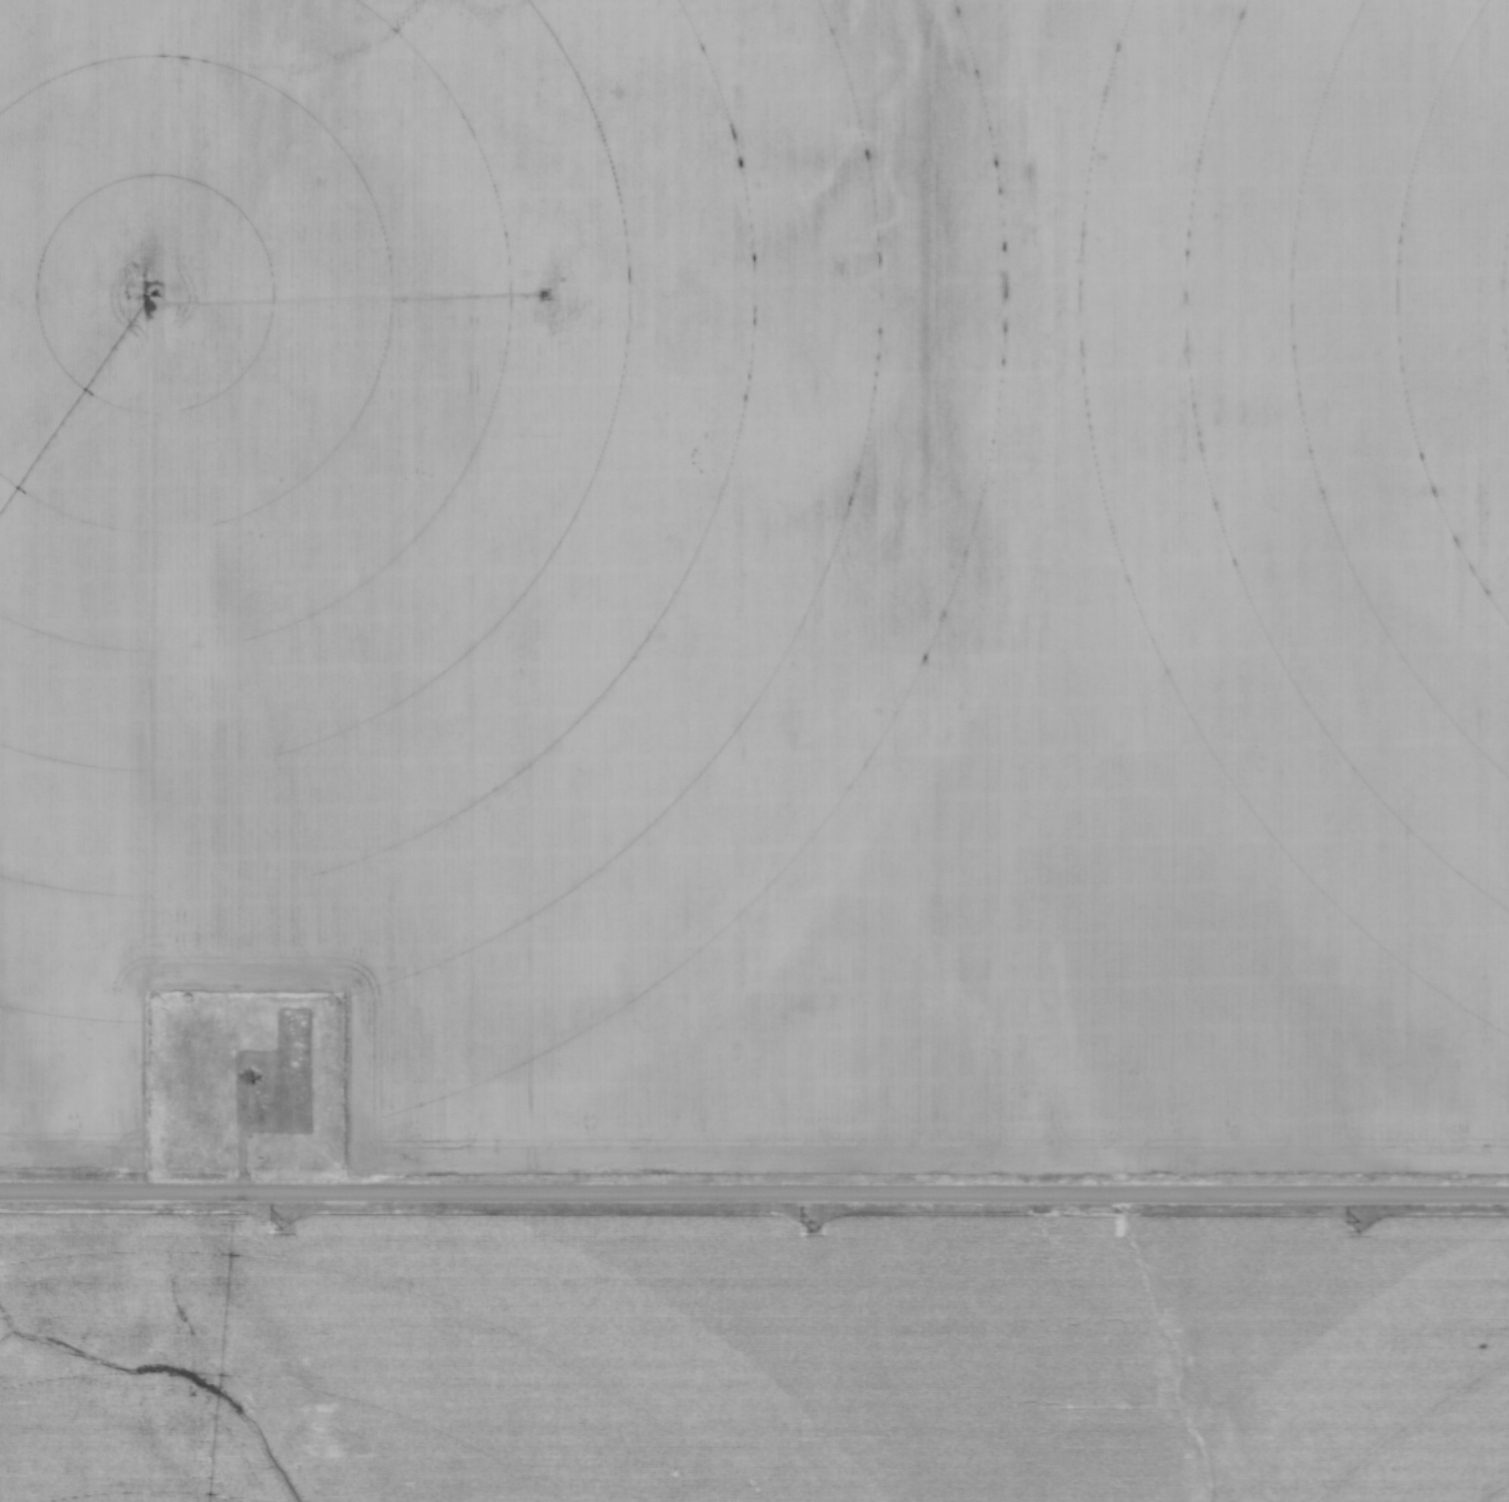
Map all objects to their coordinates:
road: (754, 1193)
power tower: (278, 1226)
power tower: (810, 1227)
power tower: (1359, 1227)

